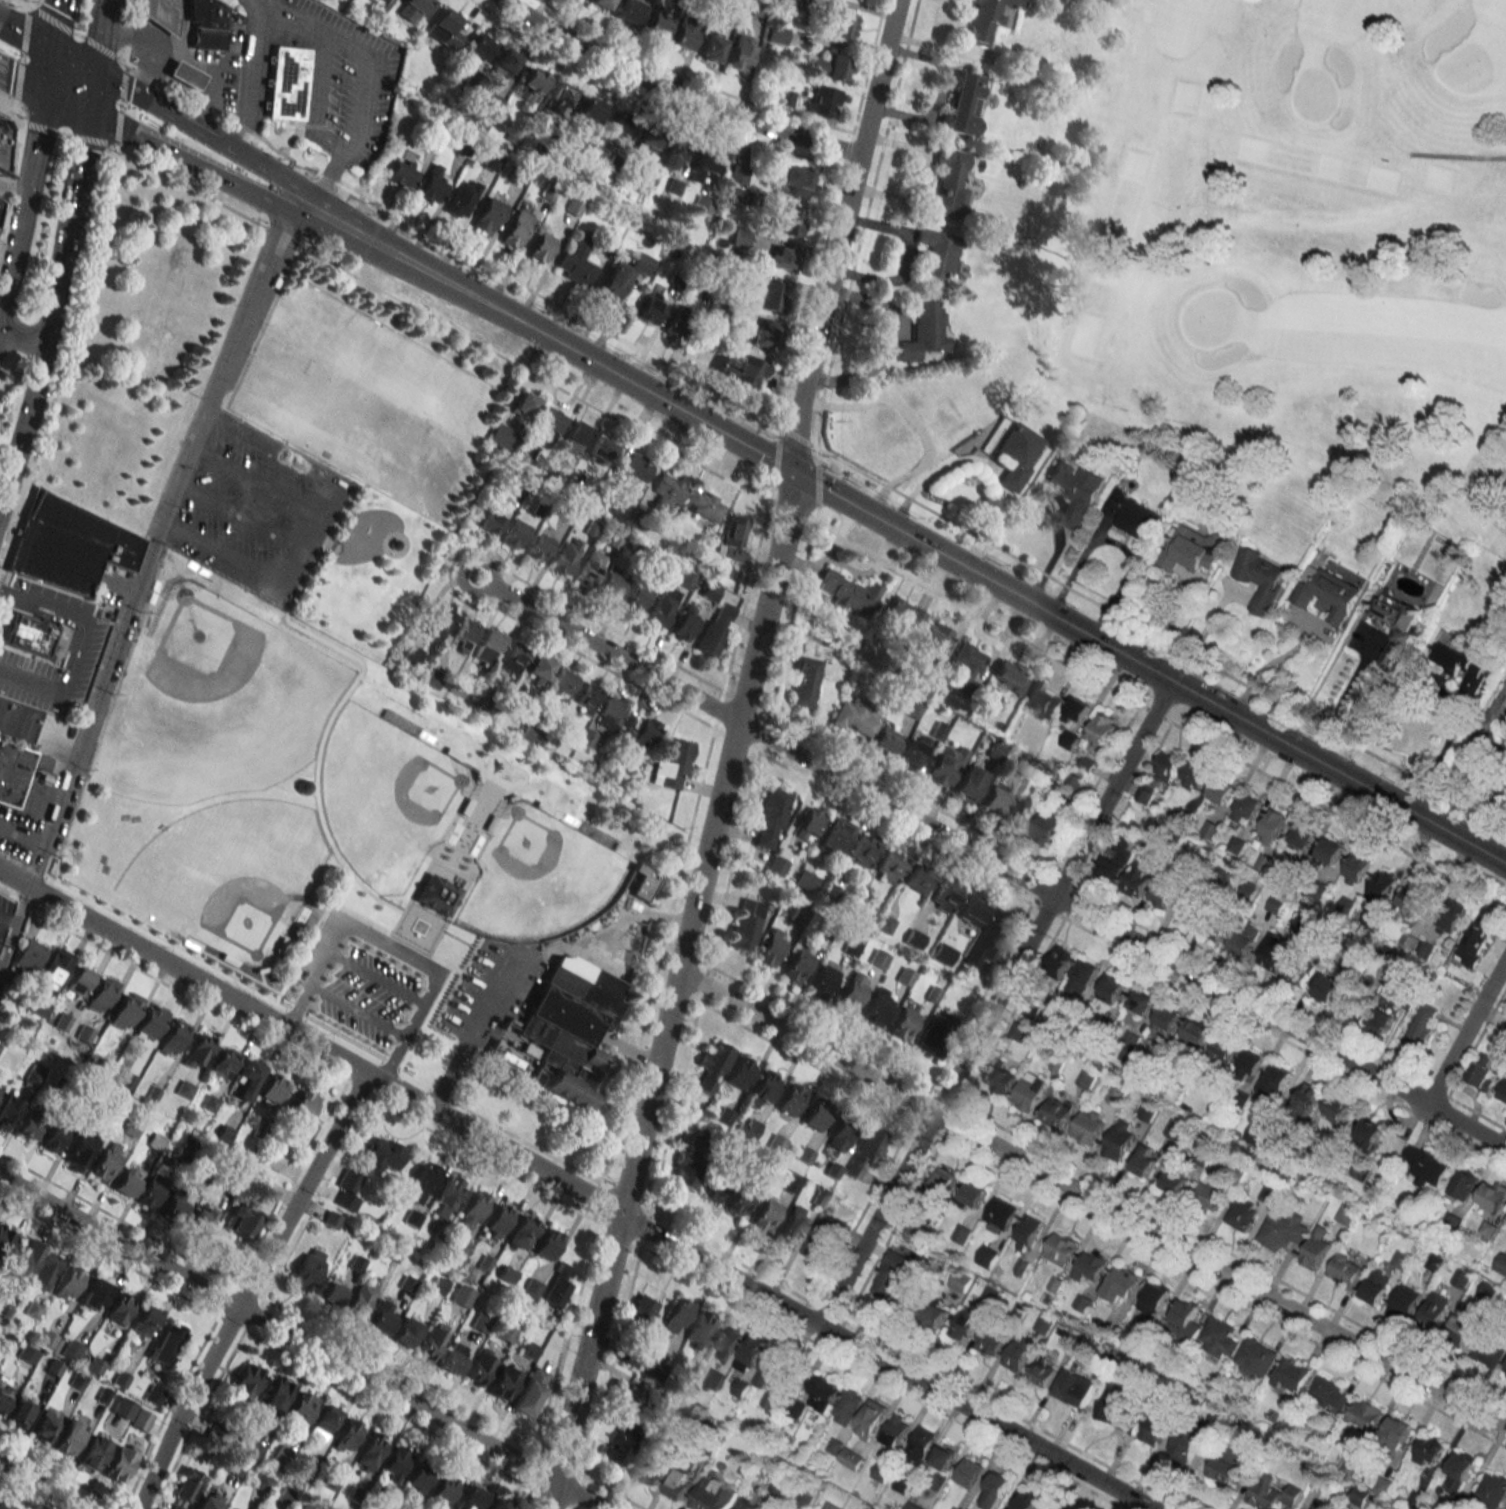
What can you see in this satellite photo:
road: (257, 1)
building: (788, 1)
building: (601, 3)
building: (415, 8)
building: (630, 11)
building: (731, 12)
building: (161, 16)
building: (988, 18)
building: (657, 23)
building: (840, 24)
road: (53, 25)
building: (208, 25)
building: (445, 29)
road: (321, 33)
building: (778, 35)
road: (25, 36)
road: (99, 36)
building: (682, 37)
building: (479, 46)
building: (711, 48)
traffic signals: (50, 50)
building: (740, 51)
road: (72, 61)
building: (504, 62)
building: (828, 65)
road: (47, 72)
traffic signals: (94, 72)
building: (187, 76)
road: (22, 82)
building: (532, 82)
building: (287, 83)
road: (91, 93)
traffic signals: (44, 94)
road: (673, 94)
building: (785, 97)
building: (559, 98)
building: (822, 101)
road: (66, 104)
building: (963, 105)
road: (156, 107)
building: (589, 111)
traffic signals: (88, 114)
road: (41, 117)
building: (616, 127)
road: (56, 131)
building: (648, 141)
building: (4, 142)
road: (1455, 153)
building: (673, 156)
building: (490, 161)
building: (704, 164)
road: (192, 166)
road: (265, 168)
building: (401, 173)
building: (795, 180)
building: (950, 185)
building: (430, 186)
building: (740, 187)
building: (461, 197)
building: (703, 204)
building: (2, 207)
building: (487, 215)
building: (790, 221)
road: (18, 222)
building: (515, 228)
road: (347, 231)
road: (839, 235)
building: (739, 237)
park: (1296, 241)
road: (1128, 246)
building: (539, 247)
building: (939, 252)
building: (780, 259)
building: (575, 263)
building: (619, 277)
building: (769, 295)
road: (51, 308)
building: (650, 309)
building: (676, 321)
building: (924, 331)
road: (7, 334)
building: (763, 334)
road: (29, 341)
road: (885, 343)
road: (592, 363)
building: (738, 368)
park: (365, 393)
building: (946, 412)
road: (912, 421)
building: (547, 425)
building: (572, 434)
building: (499, 437)
road: (269, 446)
building: (600, 449)
building: (1017, 455)
road: (979, 460)
building: (632, 466)
traffic signals: (791, 472)
road: (253, 480)
building: (1076, 489)
building: (668, 490)
building: (703, 505)
parking lot: (257, 511)
building: (1134, 514)
road: (236, 517)
building: (488, 521)
road: (307, 533)
building: (513, 534)
road: (151, 539)
building: (732, 539)
road: (1118, 544)
building: (68, 547)
building: (538, 547)
building: (1191, 549)
road: (220, 553)
road: (1050, 554)
building: (563, 559)
building: (588, 569)
building: (1260, 578)
building: (611, 586)
building: (708, 590)
building: (1332, 590)
building: (848, 593)
building: (636, 598)
building: (662, 607)
building: (898, 616)
building: (437, 621)
building: (684, 623)
building: (1396, 626)
building: (715, 629)
building: (465, 630)
building: (29, 633)
road: (1198, 634)
building: (933, 637)
building: (489, 643)
road: (80, 646)
building: (410, 655)
building: (511, 658)
building: (1460, 663)
road: (1271, 665)
building: (965, 667)
road: (1148, 668)
building: (539, 669)
building: (1009, 675)
building: (805, 680)
building: (562, 683)
building: (458, 686)
building: (586, 697)
road: (1339, 697)
building: (1042, 698)
park: (215, 704)
building: (1080, 708)
building: (1497, 711)
building: (609, 714)
building: (853, 718)
building: (16, 720)
building: (1104, 729)
building: (640, 733)
building: (884, 741)
park: (368, 746)
building: (911, 752)
building: (1087, 759)
building: (944, 764)
road: (1434, 764)
building: (671, 766)
building: (1167, 766)
building: (16, 770)
building: (1195, 776)
building: (967, 784)
building: (1222, 791)
park: (385, 798)
building: (994, 798)
building: (1247, 806)
building: (1022, 809)
building: (770, 817)
road: (1490, 820)
building: (808, 824)
building: (1272, 825)
building: (1048, 826)
building: (1211, 830)
road: (22, 833)
building: (835, 835)
building: (1302, 837)
building: (862, 850)
building: (1330, 852)
road: (981, 858)
building: (1116, 861)
building: (889, 866)
building: (1355, 869)
park: (228, 876)
park: (533, 877)
building: (1139, 879)
building: (805, 880)
building: (917, 880)
building: (641, 882)
building: (1382, 885)
building: (1166, 889)
building: (830, 893)
building: (435, 894)
building: (944, 895)
building: (1413, 901)
building: (856, 908)
building: (971, 911)
building: (1192, 912)
road: (9, 914)
building: (1452, 917)
building: (745, 924)
building: (884, 924)
building: (1219, 925)
road: (14, 929)
building: (1245, 938)
building: (913, 939)
building: (986, 939)
building: (1475, 940)
building: (851, 945)
building: (771, 947)
road: (392, 950)
building: (1274, 951)
building: (942, 954)
building: (30, 955)
building: (878, 959)
road: (2, 960)
building: (1059, 962)
building: (55, 966)
building: (796, 966)
building: (1300, 974)
road: (676, 977)
building: (824, 977)
building: (1084, 977)
building: (78, 981)
building: (1327, 988)
building: (1112, 989)
building: (852, 991)
building: (102, 994)
building: (1355, 998)
building: (1142, 1002)
road: (994, 1003)
building: (877, 1007)
building: (126, 1010)
building: (1029, 1010)
building: (1168, 1018)
building: (1381, 1018)
building: (151, 1022)
building: (902, 1024)
building: (1423, 1026)
building: (571, 1028)
building: (1020, 1031)
road: (1466, 1031)
building: (1196, 1032)
building: (84, 1033)
building: (173, 1038)
building: (932, 1039)
building: (1224, 1048)
building: (198, 1050)
building: (223, 1062)
building: (1251, 1063)
building: (711, 1064)
building: (1486, 1070)
building: (739, 1072)
building: (34, 1074)
building: (1001, 1076)
building: (245, 1079)
building: (1275, 1081)
building: (0, 1085)
building: (272, 1088)
building: (762, 1090)
building: (1029, 1091)
building: (1504, 1094)
building: (1308, 1097)
building: (791, 1098)
building: (302, 1106)
building: (1335, 1109)
building: (8, 1110)
building: (1057, 1112)
building: (1147, 1112)
building: (817, 1114)
building: (30, 1124)
building: (1088, 1126)
building: (747, 1128)
building: (1175, 1128)
building: (1370, 1133)
building: (54, 1137)
building: (1120, 1139)
building: (836, 1141)
building: (776, 1143)
building: (81, 1148)
building: (866, 1151)
building: (384, 1154)
building: (1146, 1160)
building: (106, 1161)
building: (1426, 1167)
building: (684, 1171)
building: (126, 1182)
building: (945, 1182)
building: (1175, 1182)
building: (422, 1183)
building: (1464, 1183)
building: (790, 1184)
road: (574, 1188)
building: (347, 1189)
building: (712, 1190)
building: (151, 1193)
building: (974, 1194)
building: (1493, 1194)
building: (1209, 1195)
building: (447, 1197)
road: (1092, 1200)
building: (739, 1201)
building: (175, 1208)
building: (472, 1210)
building: (1242, 1213)
building: (765, 1215)
building: (1000, 1215)
building: (200, 1218)
building: (330, 1219)
building: (497, 1221)
building: (241, 1222)
building: (792, 1225)
building: (1282, 1230)
building: (1028, 1232)
building: (521, 1233)
building: (962, 1233)
building: (4, 1238)
building: (823, 1238)
building: (547, 1243)
building: (1061, 1248)
building: (1316, 1250)
building: (23, 1259)
building: (1501, 1264)
building: (1090, 1267)
building: (307, 1270)
building: (1347, 1270)
building: (45, 1271)
building: (892, 1273)
building: (1462, 1278)
building: (69, 1283)
building: (1121, 1284)
building: (438, 1285)
building: (558, 1285)
building: (1377, 1286)
building: (531, 1288)
road: (248, 1289)
building: (332, 1291)
building: (96, 1294)
building: (462, 1296)
building: (361, 1297)
building: (910, 1298)
building: (1154, 1299)
building: (1406, 1300)
building: (642, 1308)
building: (119, 1309)
building: (1434, 1309)
building: (935, 1314)
building: (676, 1316)
building: (380, 1318)
building: (144, 1320)
building: (480, 1321)
building: (1184, 1322)
building: (965, 1324)
building: (1044, 1325)
building: (1460, 1328)
building: (700, 1329)
building: (404, 1332)
building: (1220, 1338)
building: (5, 1341)
building: (431, 1341)
road: (300, 1342)
building: (727, 1342)
building: (992, 1342)
building: (167, 1343)
building: (528, 1350)
building: (750, 1353)
building: (1019, 1353)
building: (1488, 1353)
building: (27, 1354)
building: (453, 1358)
building: (1256, 1358)
building: (776, 1366)
building: (480, 1368)
building: (1043, 1374)
building: (1505, 1374)
building: (1291, 1375)
building: (247, 1381)
building: (504, 1381)
building: (1073, 1386)
building: (530, 1391)
building: (823, 1393)
building: (1330, 1393)
building: (153, 1394)
building: (277, 1394)
building: (4, 1395)
building: (633, 1399)
building: (848, 1406)
building: (123, 1408)
building: (300, 1409)
building: (20, 1411)
building: (1119, 1413)
building: (1366, 1413)
building: (141, 1419)
building: (871, 1419)
building: (322, 1423)
building: (44, 1425)
building: (1155, 1429)
building: (897, 1430)
building: (214, 1431)
building: (1397, 1431)
building: (347, 1436)
building: (70, 1437)
building: (922, 1444)
building: (1186, 1445)
building: (617, 1448)
building: (1429, 1449)
building: (252, 1450)
building: (93, 1452)
building: (370, 1452)
building: (943, 1457)
building: (852, 1459)
building: (120, 1462)
building: (395, 1464)
building: (1228, 1466)
building: (654, 1470)
building: (1460, 1470)
building: (969, 1472)
building: (419, 1478)
building: (681, 1483)
building: (187, 1485)
road: (41, 1486)
building: (997, 1486)
building: (445, 1489)
building: (1492, 1490)
building: (1273, 1493)
road: (551, 1495)
building: (713, 1495)
building: (1359, 1496)
building: (471, 1498)
building: (1025, 1500)
building: (208, 1501)
building: (497, 1504)
building: (745, 1505)
building: (1319, 1505)
building: (0, 1506)
building: (1051, 1506)
building: (230, 1507)

